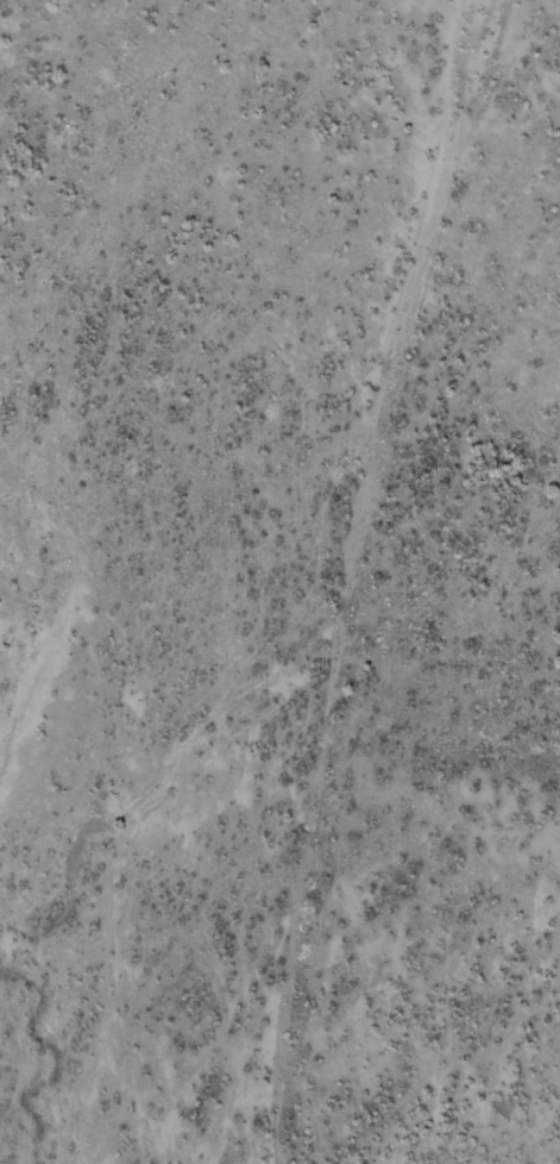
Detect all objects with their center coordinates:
road: (370, 577)

